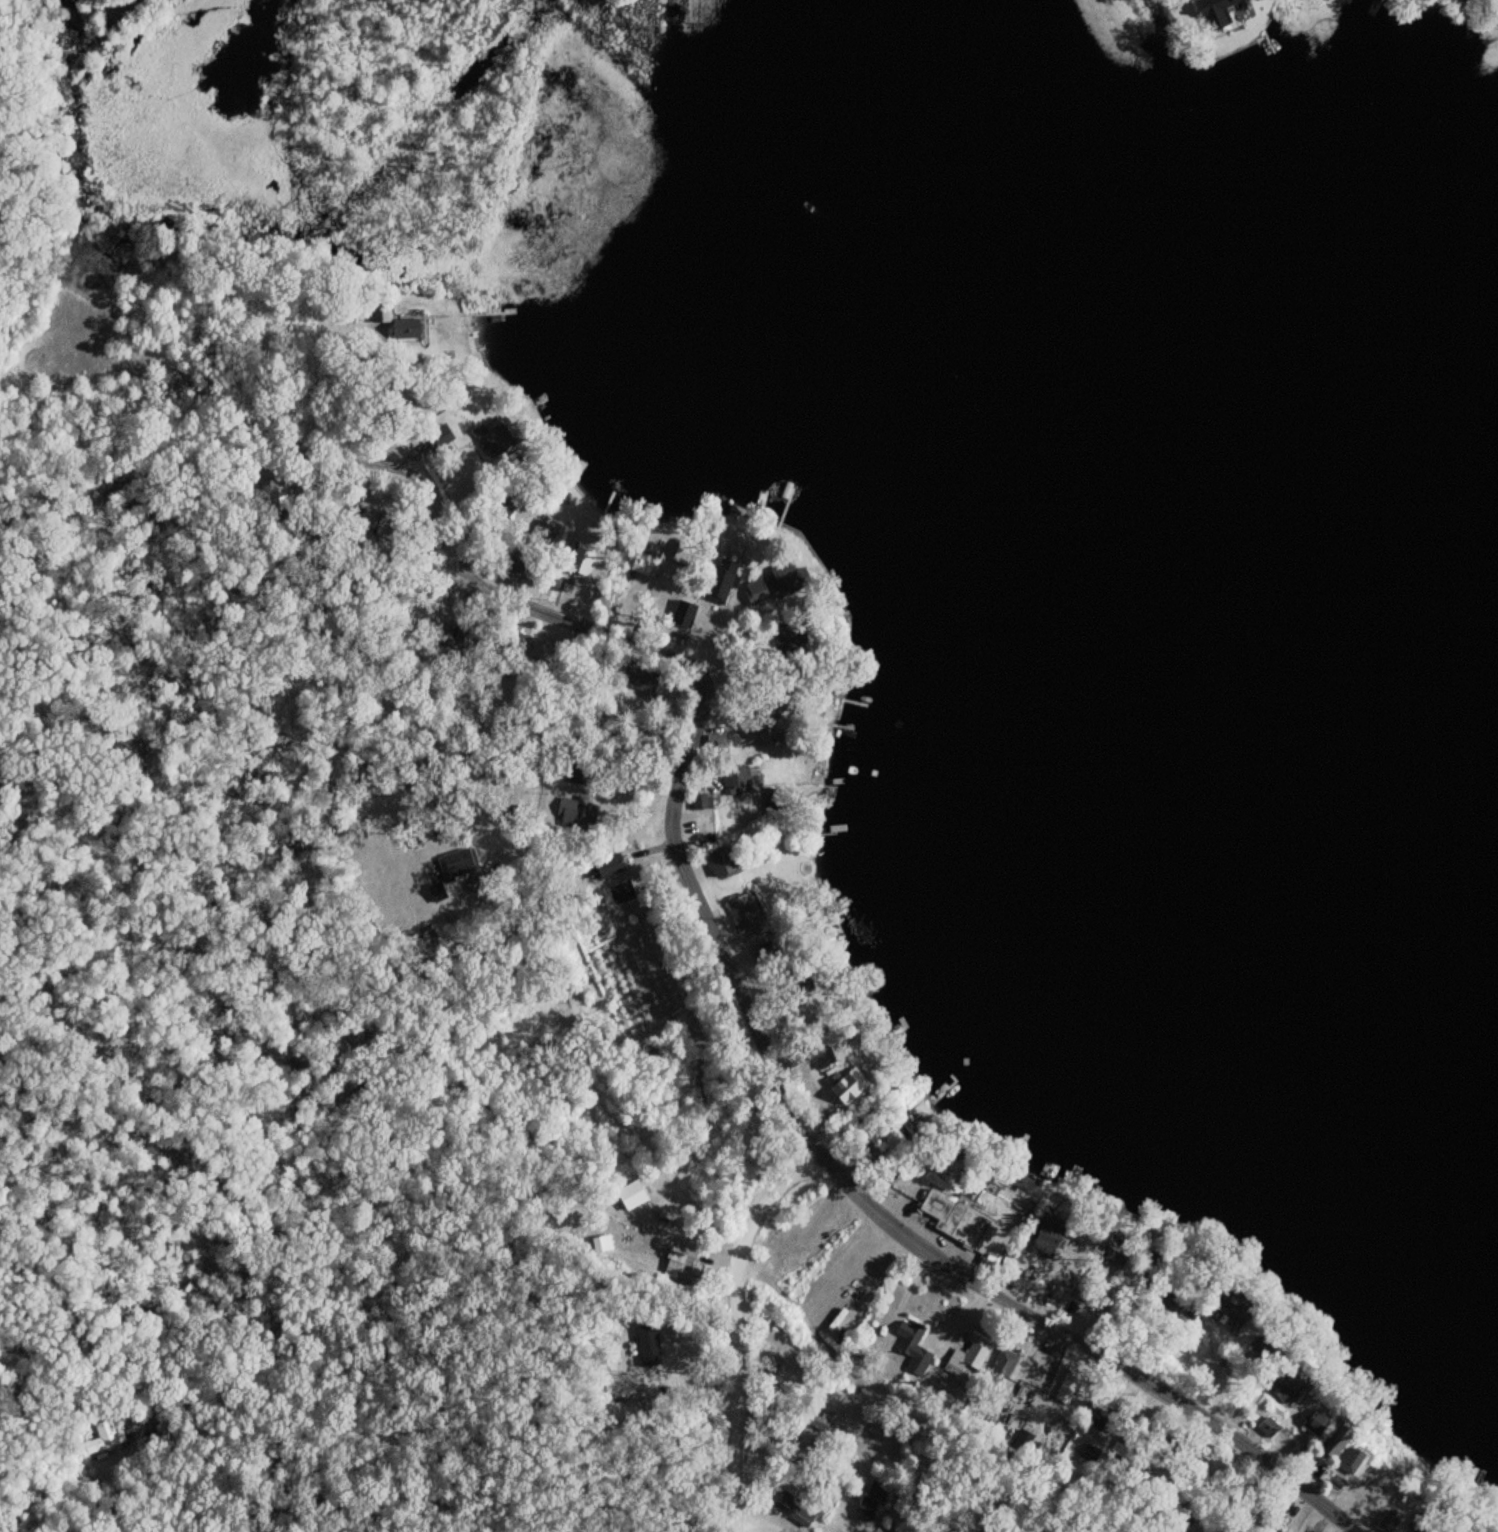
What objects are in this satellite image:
building: (380, 315)
building: (406, 330)
building: (496, 442)
road: (490, 519)
road: (394, 535)
building: (772, 586)
building: (629, 677)
building: (749, 738)
building: (747, 915)
road: (793, 1112)
road: (818, 1123)
building: (956, 1221)
building: (1047, 1238)
road: (719, 1314)
building: (911, 1347)
road: (887, 1386)
road: (242, 1418)
building: (103, 1439)
road: (1154, 1469)
road: (760, 1508)
road: (121, 1511)
building: (865, 1512)
road: (1116, 1527)

